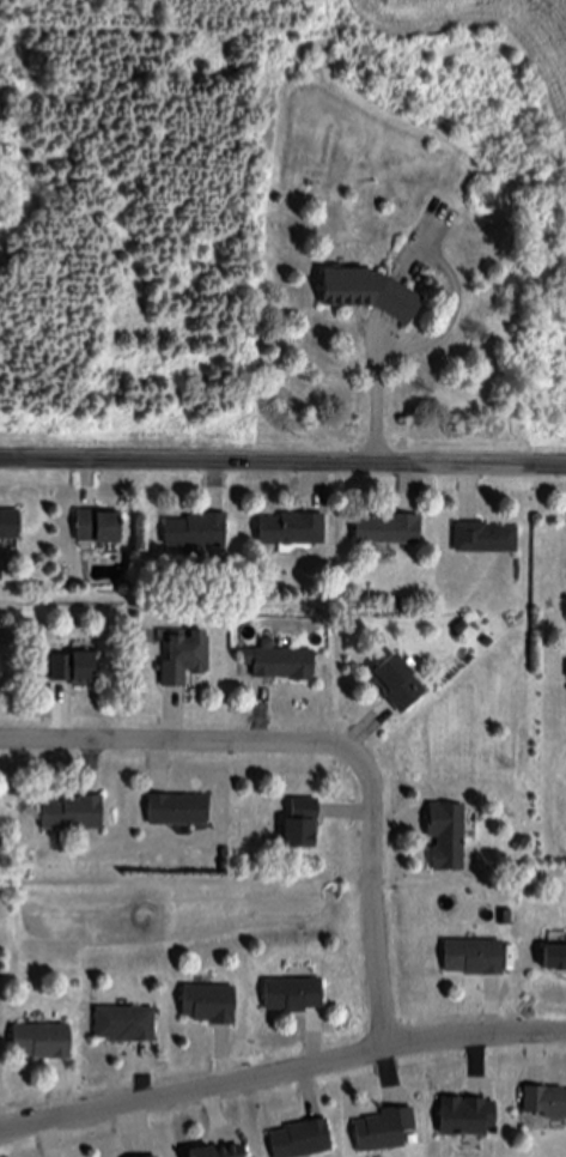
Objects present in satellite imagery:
crop: (556, 198)
building: (370, 292)
road: (383, 329)
road: (389, 341)
road: (378, 387)
road: (282, 466)
building: (11, 526)
building: (101, 527)
building: (293, 531)
building: (390, 532)
building: (199, 533)
building: (486, 539)
building: (463, 629)
building: (489, 643)
building: (187, 659)
building: (282, 665)
building: (75, 670)
building: (400, 683)
road: (178, 743)
building: (179, 811)
building: (75, 816)
building: (303, 826)
building: (449, 836)
road: (377, 899)
building: (507, 921)
building: (475, 958)
building: (555, 961)
building: (294, 994)
building: (211, 1005)
building: (127, 1025)
building: (43, 1043)
road: (281, 1072)
building: (546, 1102)
building: (468, 1117)
building: (385, 1132)
building: (303, 1140)
building: (217, 1151)
building: (156, 1156)

